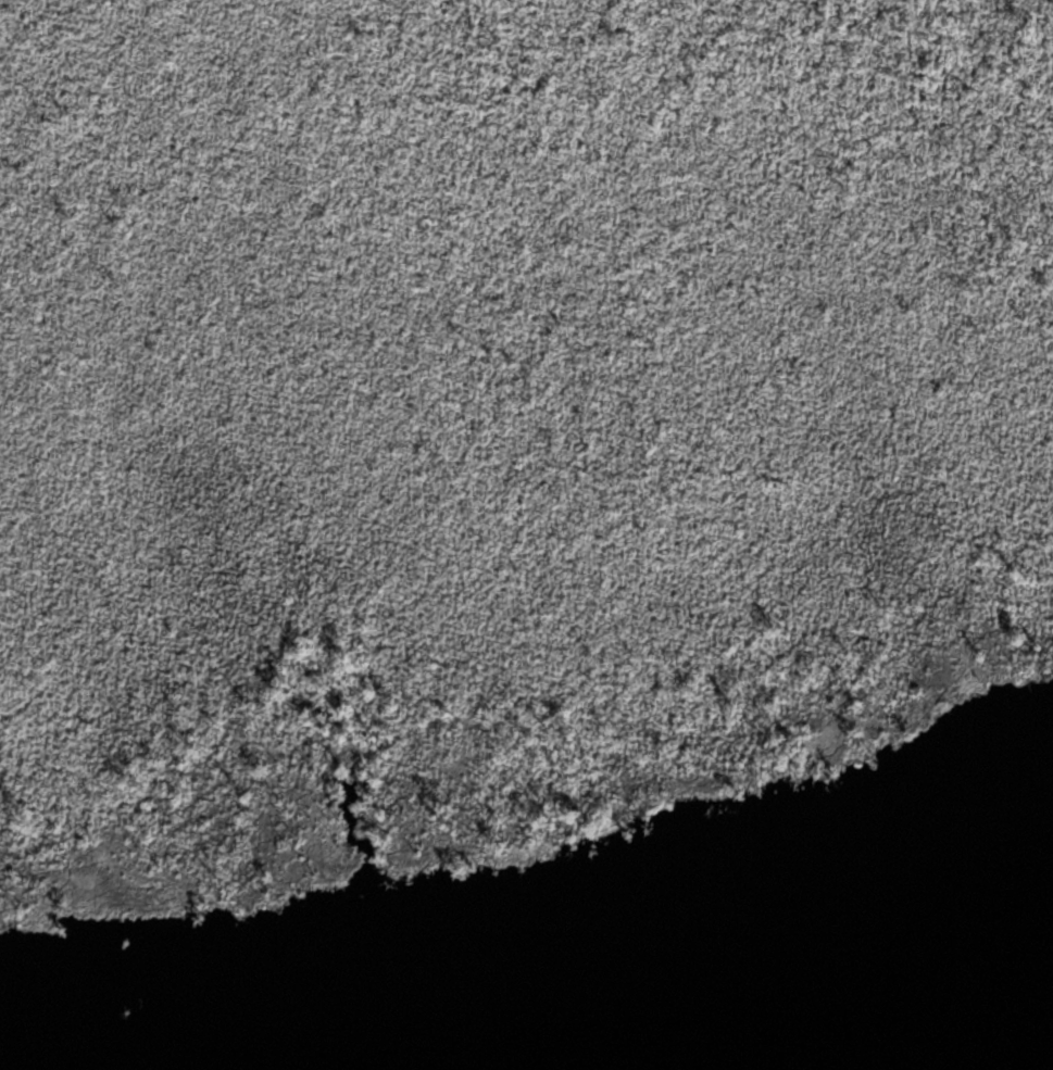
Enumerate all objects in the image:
river: (969, 1023)

